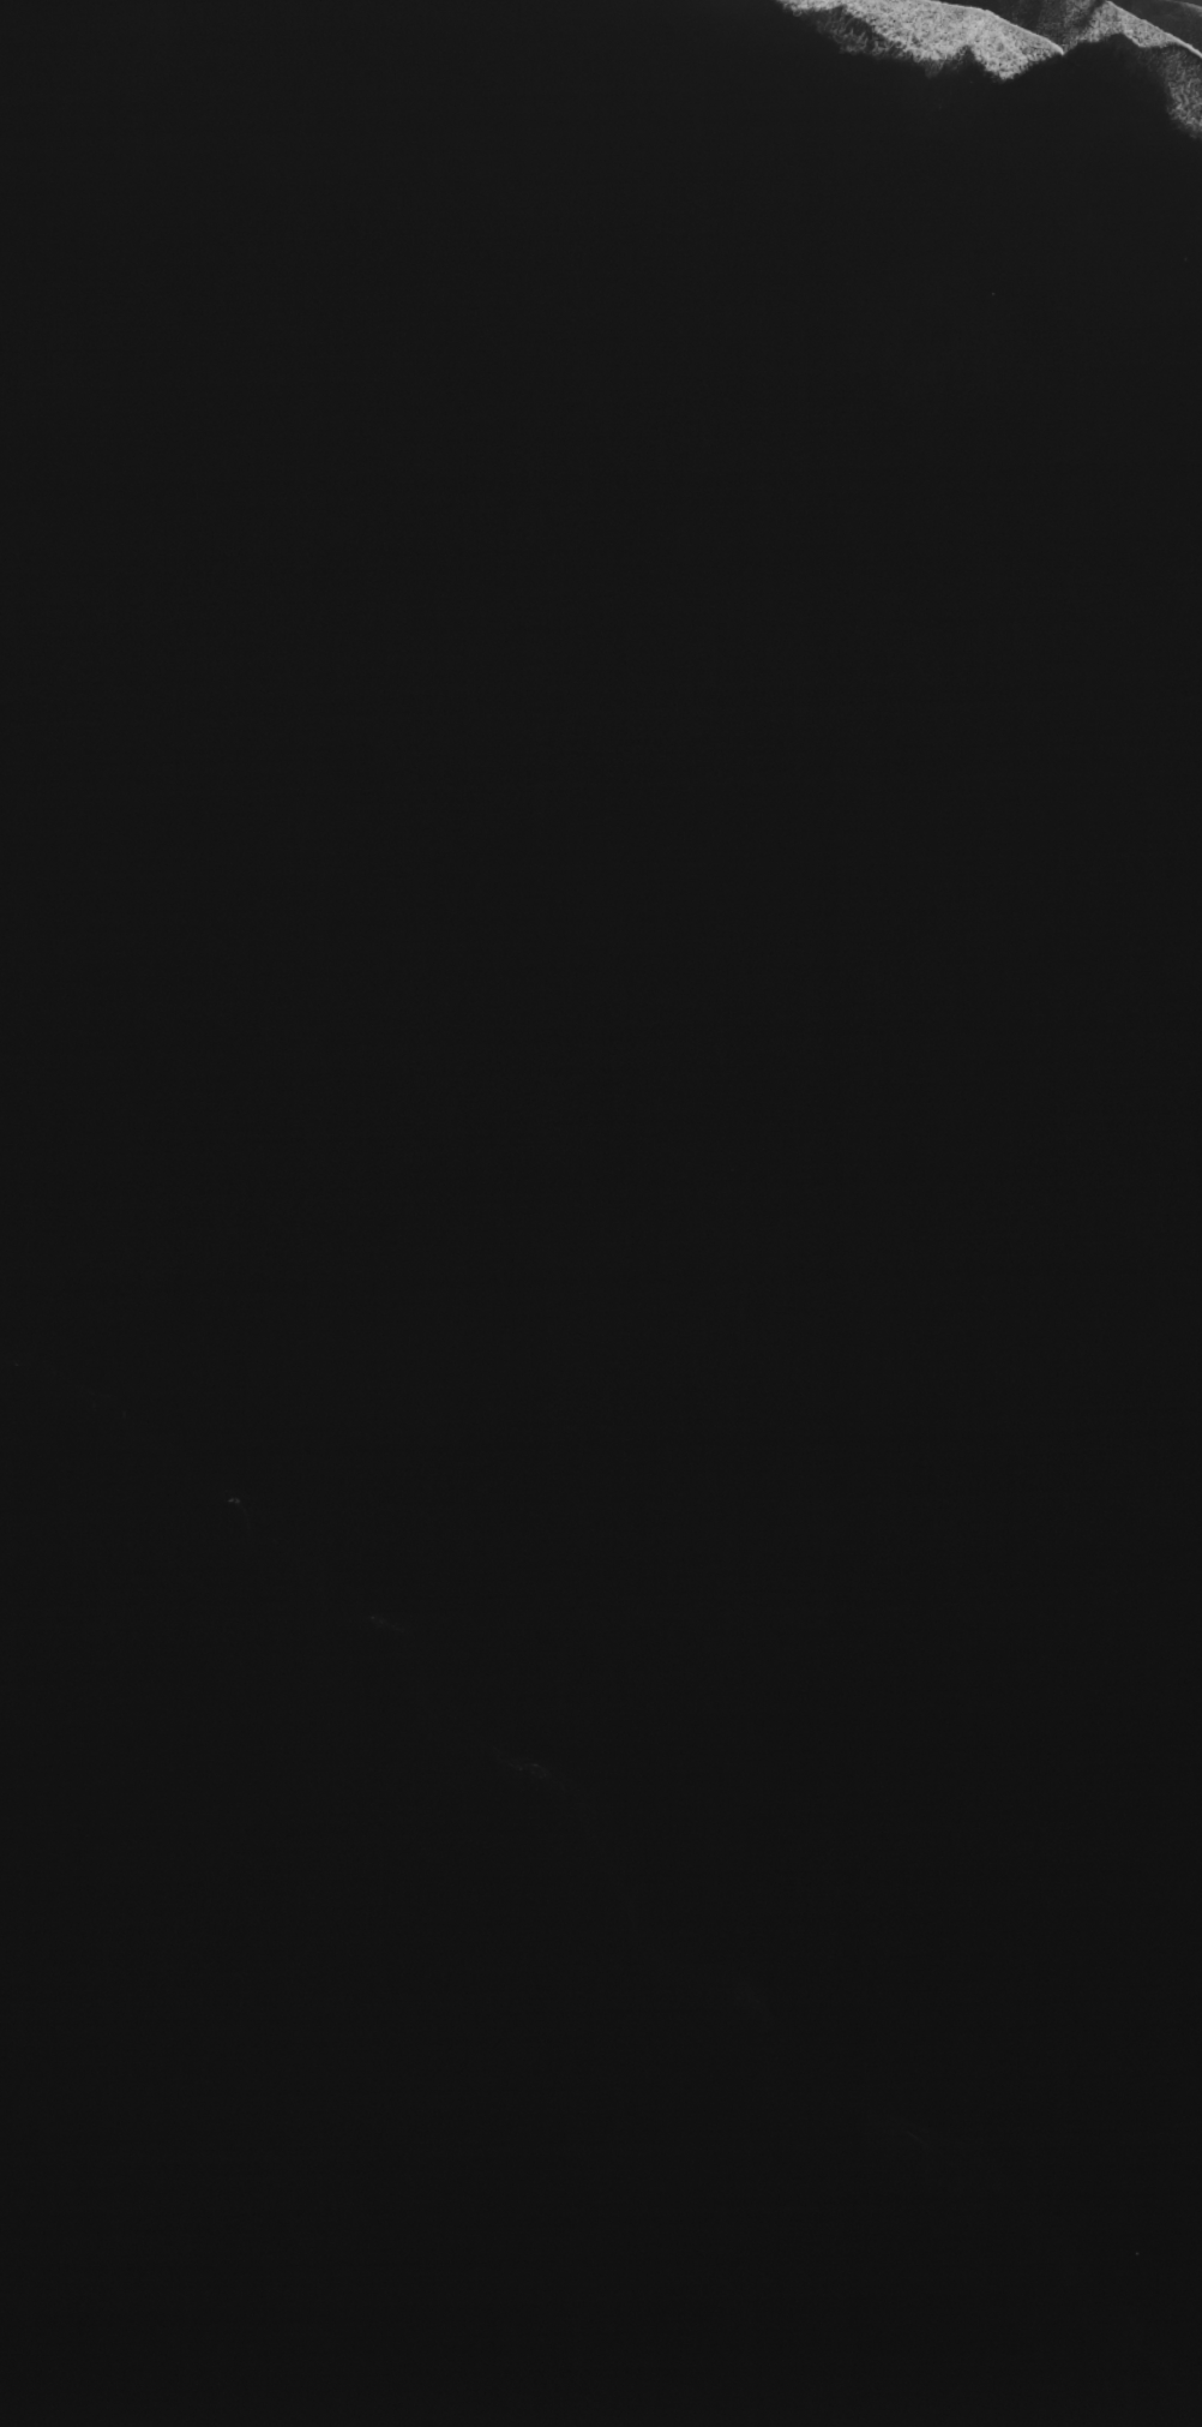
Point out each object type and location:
airport: (1065, 50)

